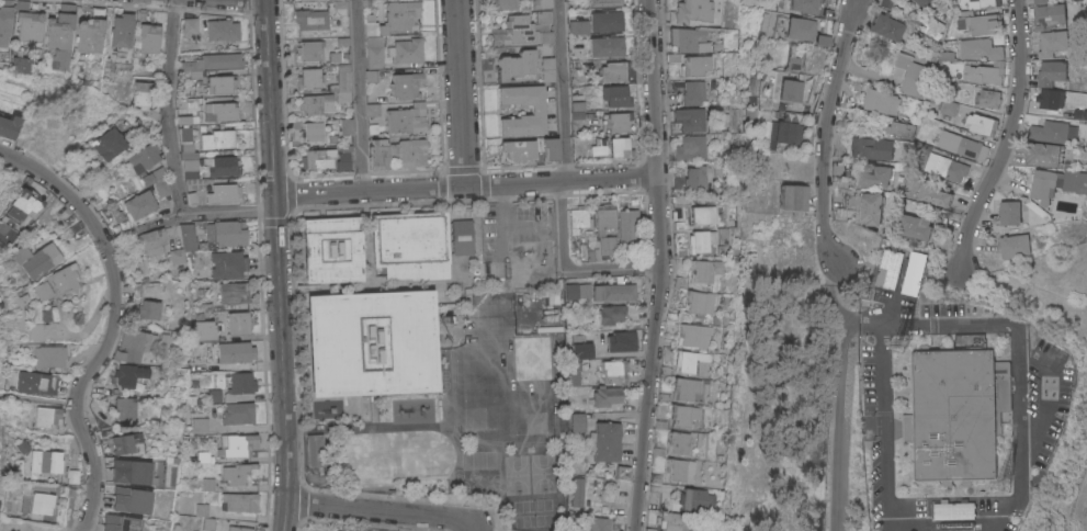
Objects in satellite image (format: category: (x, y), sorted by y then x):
road: (257, 0)
building: (1040, 1)
building: (921, 2)
building: (602, 3)
building: (982, 3)
building: (500, 4)
building: (540, 4)
building: (805, 5)
building: (339, 8)
road: (856, 9)
building: (692, 11)
building: (393, 18)
building: (1048, 18)
building: (312, 19)
building: (4, 21)
building: (604, 22)
building: (982, 22)
building: (190, 24)
building: (30, 25)
building: (932, 26)
building: (578, 27)
building: (887, 27)
building: (801, 29)
building: (122, 30)
building: (222, 30)
building: (522, 31)
building: (59, 35)
building: (89, 35)
building: (148, 37)
building: (689, 39)
building: (342, 42)
building: (1052, 43)
building: (605, 47)
building: (309, 49)
building: (980, 49)
building: (406, 50)
building: (373, 52)
building: (340, 57)
building: (3, 59)
building: (211, 63)
building: (792, 64)
building: (21, 65)
building: (695, 65)
building: (514, 66)
building: (546, 70)
building: (612, 72)
building: (987, 72)
building: (1051, 72)
building: (910, 75)
building: (370, 77)
building: (309, 79)
building: (341, 81)
building: (220, 84)
building: (406, 84)
building: (948, 88)
road: (562, 90)
building: (575, 90)
building: (791, 90)
building: (141, 92)
building: (692, 92)
road: (461, 93)
road: (358, 95)
building: (614, 97)
building: (987, 99)
building: (881, 101)
building: (1050, 102)
building: (316, 104)
building: (576, 108)
building: (948, 108)
building: (372, 110)
building: (536, 111)
building: (220, 112)
building: (790, 117)
building: (407, 118)
building: (689, 120)
building: (616, 123)
building: (982, 124)
building: (347, 125)
building: (8, 127)
building: (585, 127)
building: (372, 129)
building: (899, 129)
building: (313, 132)
building: (785, 132)
building: (1049, 132)
road: (823, 135)
building: (217, 139)
building: (331, 139)
road: (1006, 139)
building: (107, 144)
building: (961, 144)
building: (616, 148)
building: (692, 148)
building: (871, 148)
building: (548, 149)
road: (171, 151)
building: (517, 151)
building: (397, 152)
building: (1044, 154)
building: (188, 155)
building: (144, 157)
building: (343, 157)
building: (317, 158)
building: (941, 163)
building: (220, 166)
building: (874, 176)
building: (695, 177)
building: (147, 178)
building: (1056, 183)
road: (465, 187)
road: (61, 188)
building: (162, 188)
building: (215, 194)
building: (933, 195)
building: (792, 196)
building: (24, 204)
building: (140, 204)
building: (870, 208)
building: (1009, 213)
building: (703, 215)
building: (604, 216)
building: (578, 219)
building: (940, 219)
building: (627, 225)
building: (916, 227)
building: (75, 228)
building: (226, 233)
building: (724, 235)
building: (461, 237)
building: (150, 241)
building: (699, 241)
building: (184, 244)
building: (410, 245)
building: (1014, 246)
building: (603, 247)
building: (331, 249)
building: (38, 259)
building: (227, 264)
road: (276, 265)
road: (660, 265)
building: (888, 268)
road: (567, 269)
building: (705, 270)
building: (912, 273)
road: (838, 276)
building: (58, 281)
building: (577, 291)
building: (233, 293)
building: (613, 293)
building: (700, 302)
building: (14, 306)
building: (547, 308)
building: (147, 309)
building: (531, 309)
building: (45, 314)
building: (611, 314)
building: (239, 323)
road: (927, 324)
building: (204, 330)
building: (35, 331)
building: (697, 336)
building: (622, 341)
building: (162, 342)
building: (371, 343)
building: (134, 344)
building: (580, 347)
building: (199, 348)
building: (236, 352)
building: (48, 357)
building: (694, 363)
building: (615, 371)
building: (575, 373)
building: (132, 375)
building: (33, 383)
building: (242, 383)
road: (79, 385)
building: (688, 388)
road: (1049, 391)
building: (214, 396)
building: (607, 396)
road: (842, 406)
building: (128, 408)
road: (1017, 408)
building: (955, 413)
building: (238, 414)
building: (684, 415)
building: (48, 416)
building: (577, 422)
building: (200, 425)
road: (885, 434)
building: (605, 441)
building: (679, 442)
building: (128, 443)
building: (237, 445)
building: (314, 450)
building: (438, 455)
building: (410, 456)
building: (206, 457)
building: (355, 457)
building: (383, 457)
building: (45, 462)
building: (677, 470)
building: (129, 472)
building: (240, 474)
building: (207, 485)
building: (578, 493)
building: (129, 500)
building: (695, 500)
building: (41, 501)
building: (240, 501)
building: (203, 510)
building: (953, 510)
road: (382, 512)
road: (1006, 515)
building: (109, 519)
building: (672, 521)
building: (226, 523)
building: (599, 523)
building: (122, 524)
building: (956, 526)

